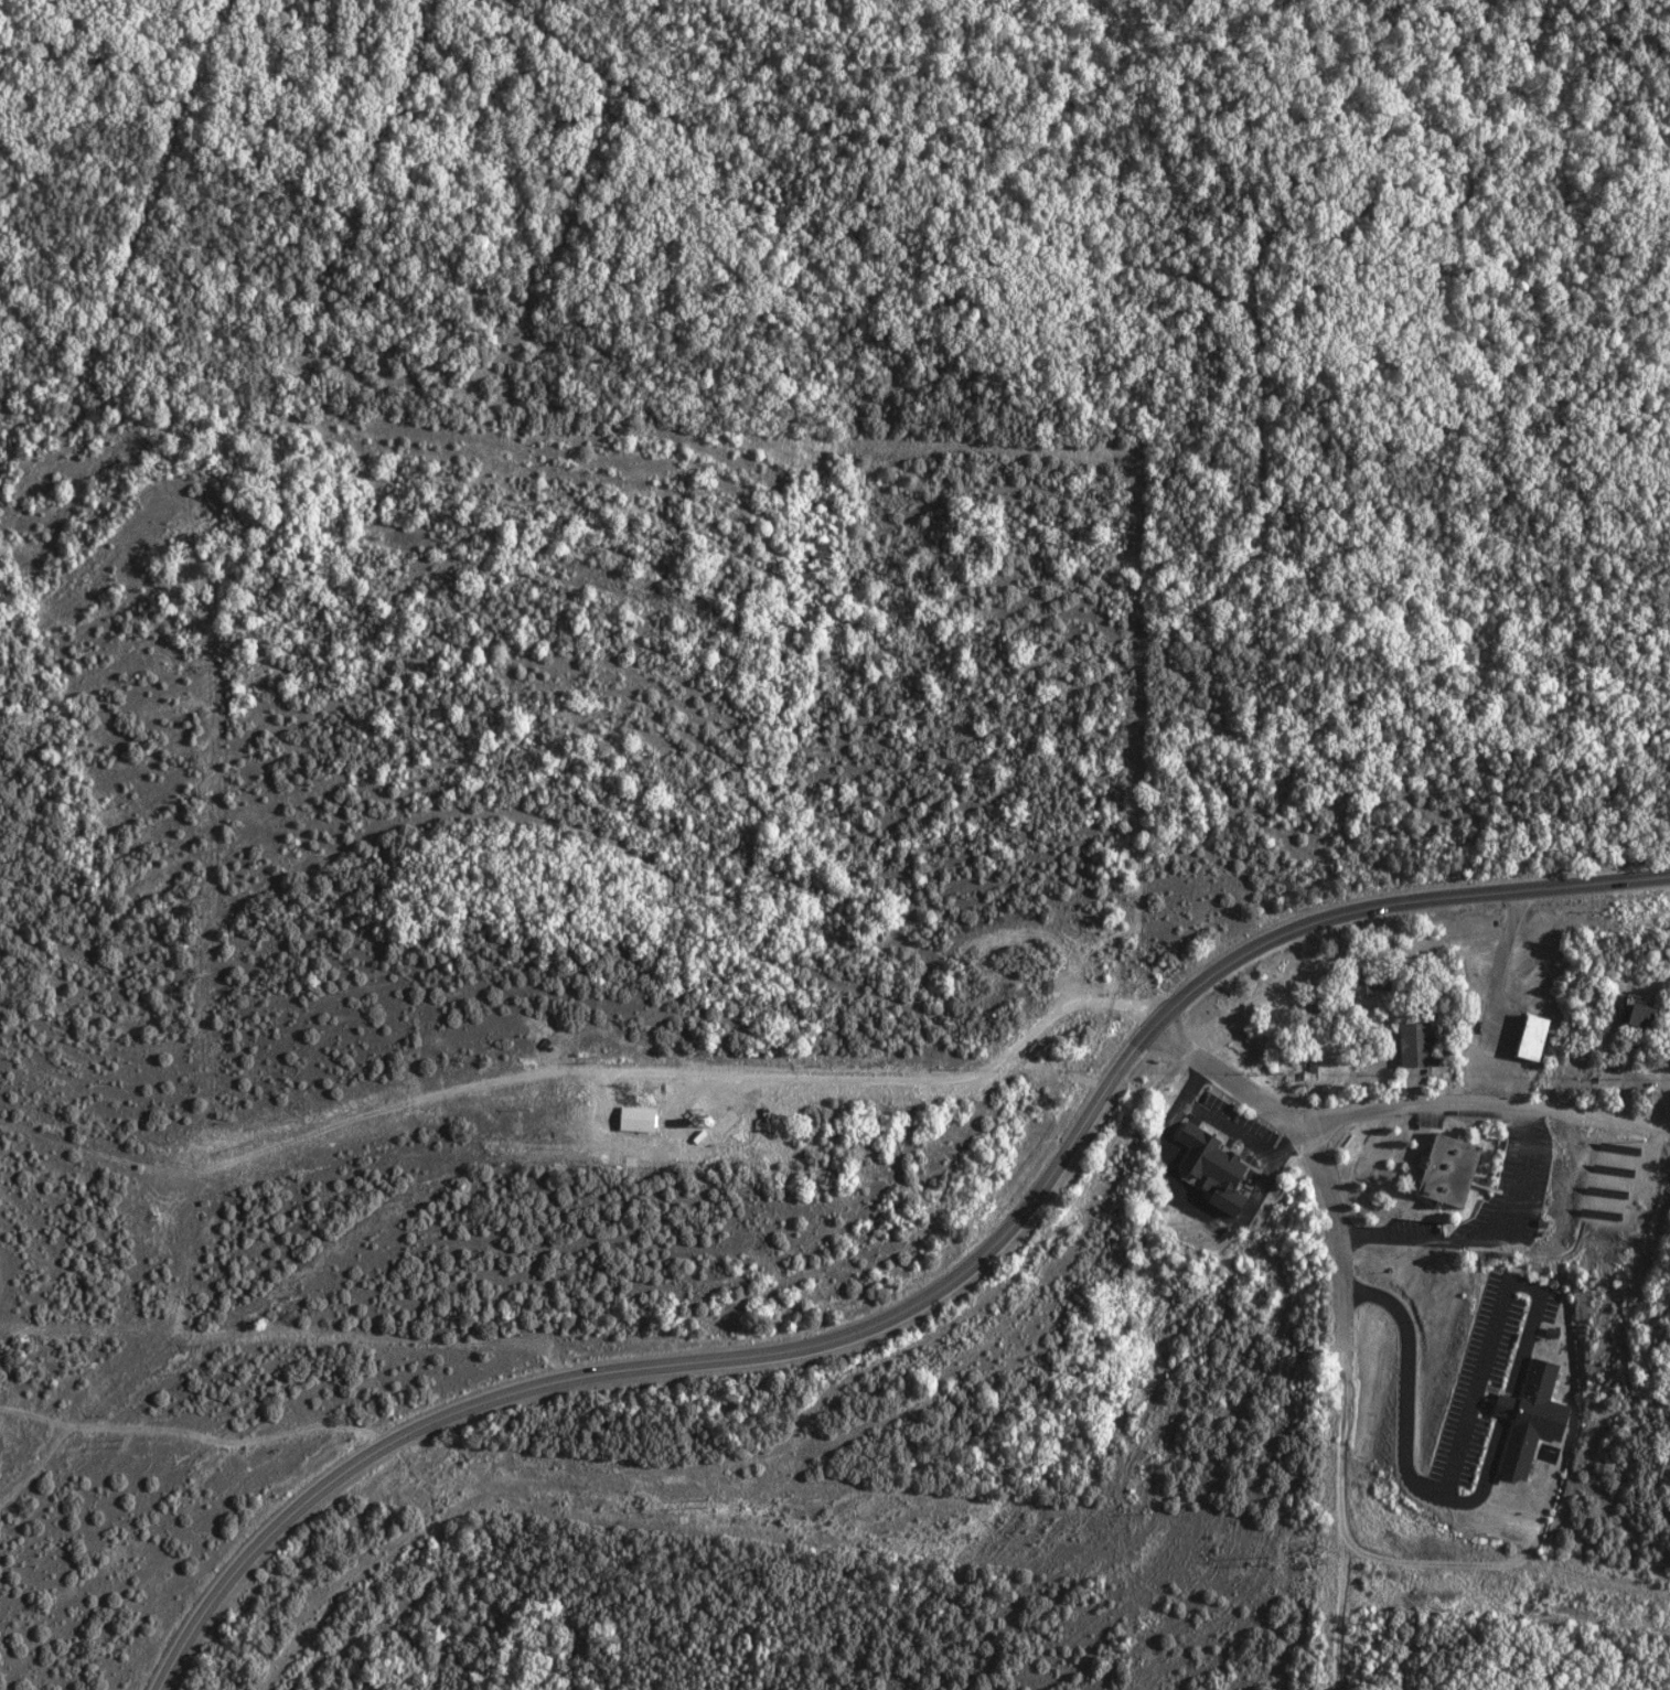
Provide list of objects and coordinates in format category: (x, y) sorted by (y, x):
building: (1637, 1015)
building: (1529, 1037)
building: (1413, 1044)
road: (898, 1079)
road: (1481, 1101)
building: (632, 1119)
building: (1208, 1169)
building: (1443, 1169)
road: (1266, 1210)
road: (1487, 1236)
road: (927, 1294)
road: (1345, 1319)
road: (1494, 1325)
road: (1507, 1404)
building: (1530, 1420)
power tower: (129, 1442)
road: (1402, 1444)
power tower: (713, 1504)
power tower: (1272, 1561)

